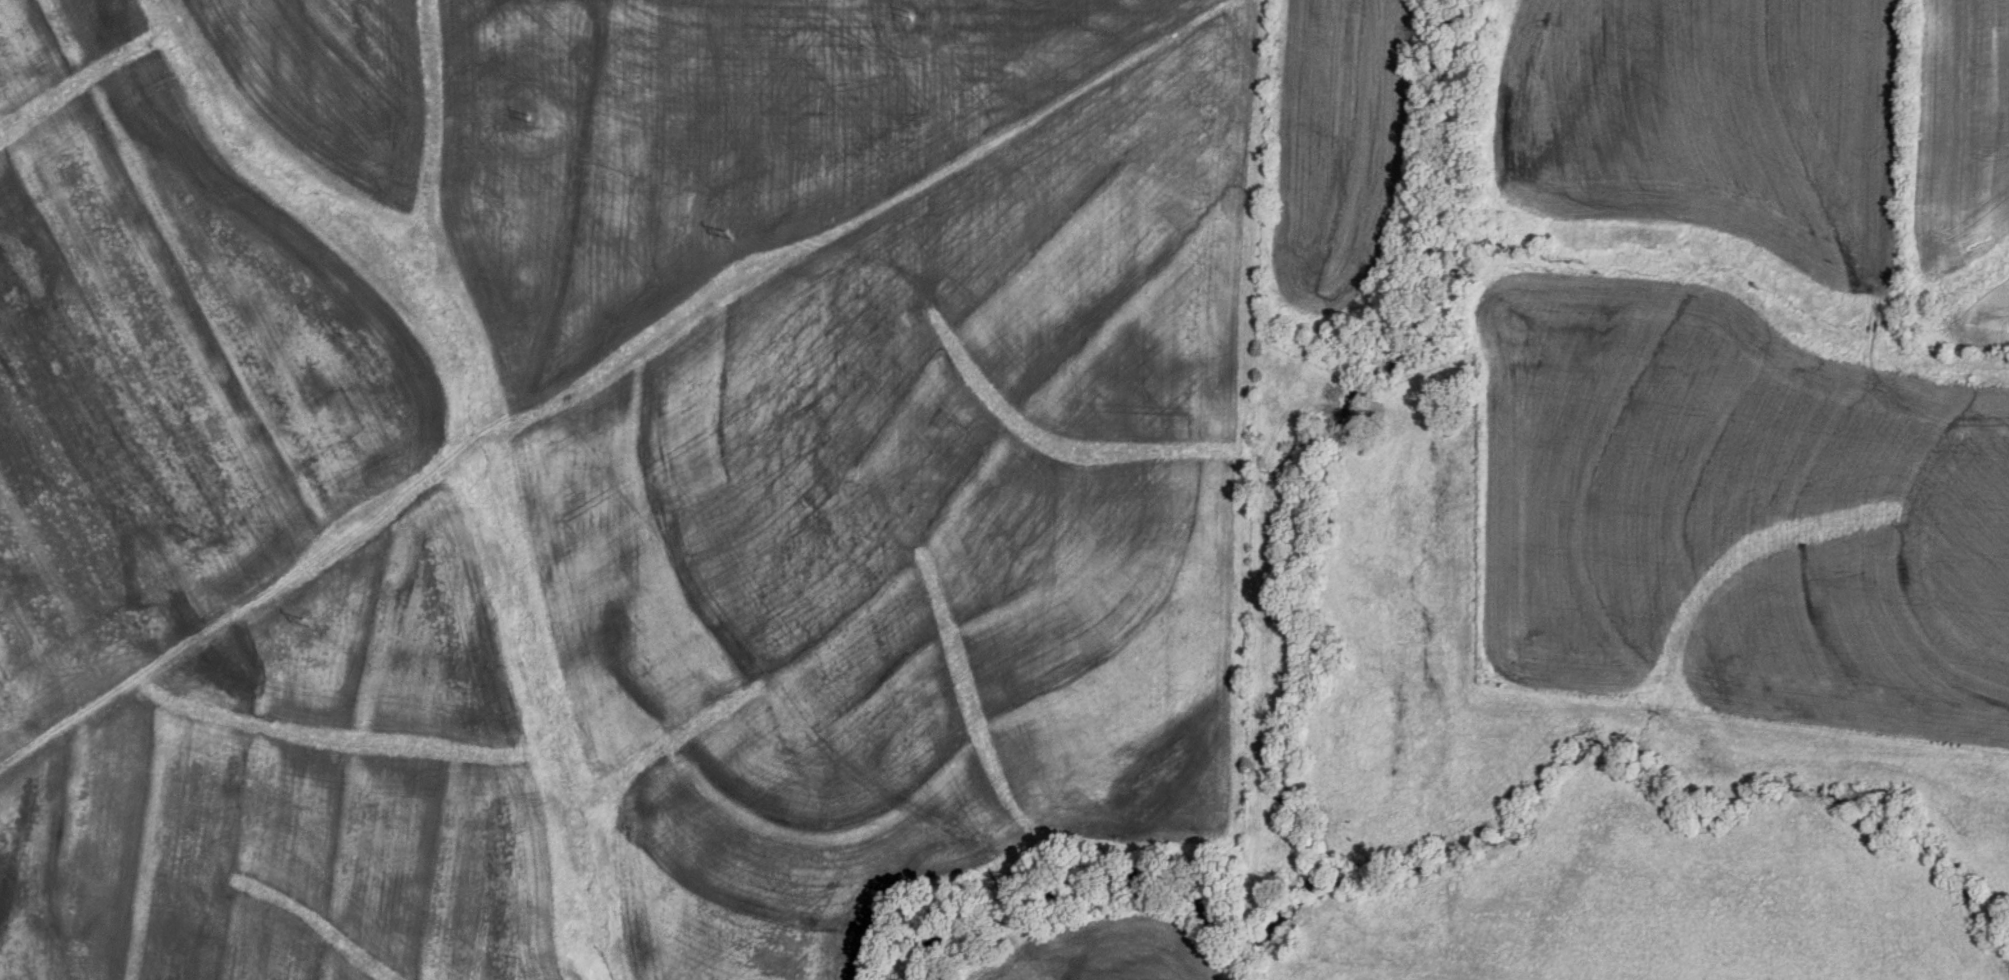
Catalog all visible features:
power tower: (909, 12)
power tower: (532, 115)
crop: (1957, 180)
power tower: (724, 234)
crop: (1732, 388)
crop: (243, 566)
power tower: (311, 624)

